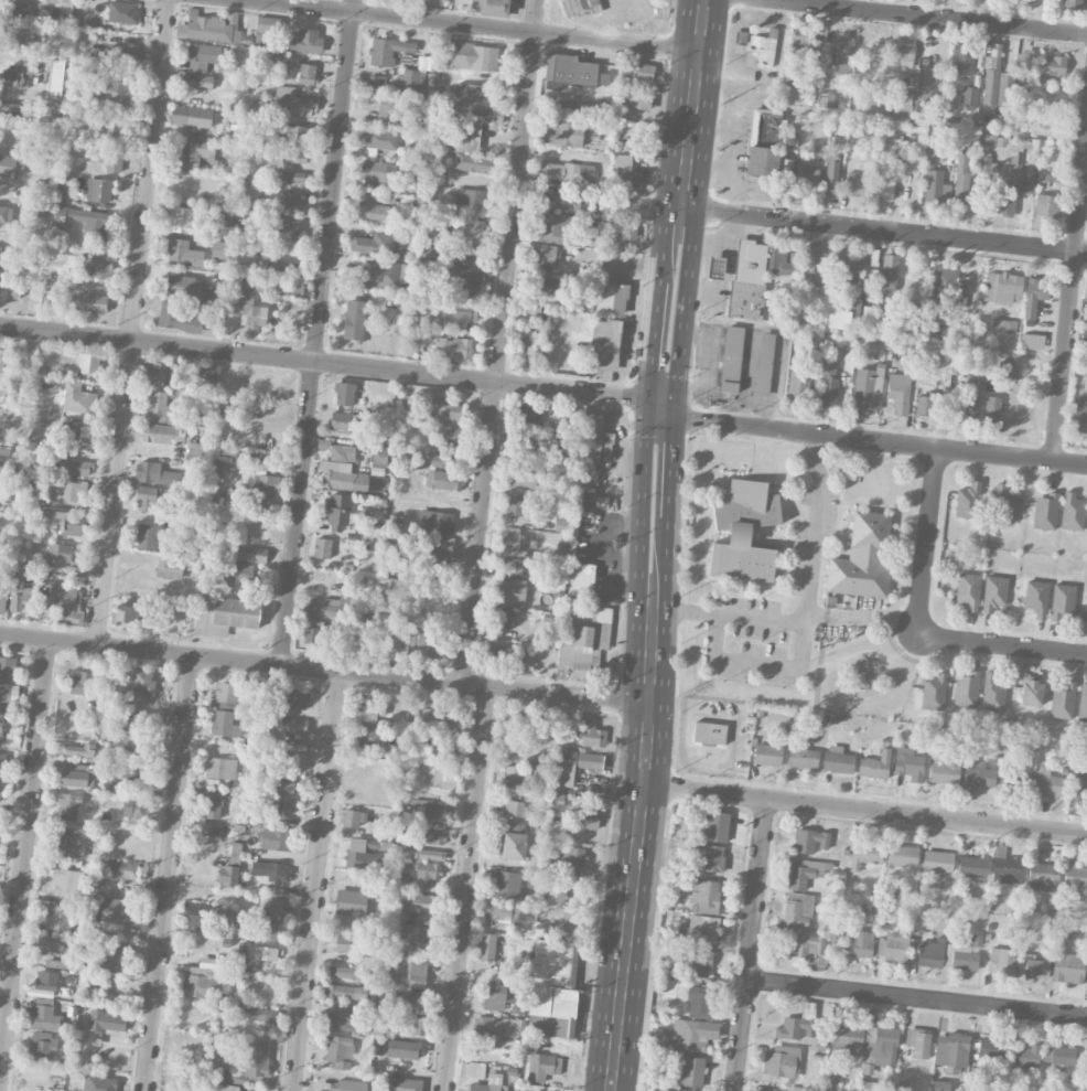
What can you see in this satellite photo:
building: (1074, 2)
building: (19, 8)
building: (494, 8)
building: (580, 8)
building: (122, 12)
road: (930, 17)
building: (267, 24)
road: (474, 24)
building: (209, 26)
building: (18, 36)
building: (740, 38)
building: (305, 41)
building: (799, 46)
building: (764, 47)
building: (384, 51)
building: (843, 54)
building: (901, 54)
building: (121, 55)
building: (470, 55)
building: (202, 56)
building: (962, 61)
building: (1053, 65)
building: (1025, 71)
building: (306, 73)
building: (642, 73)
building: (415, 75)
building: (11, 76)
building: (569, 77)
road: (697, 78)
building: (197, 82)
building: (376, 84)
building: (926, 84)
building: (990, 86)
building: (1004, 88)
building: (116, 89)
building: (470, 93)
building: (969, 96)
building: (635, 99)
building: (826, 99)
building: (292, 103)
building: (902, 104)
building: (388, 107)
building: (10, 110)
building: (927, 114)
building: (191, 116)
building: (481, 119)
building: (114, 129)
building: (563, 135)
building: (293, 137)
building: (381, 139)
building: (986, 139)
building: (195, 153)
building: (293, 157)
building: (473, 160)
building: (762, 161)
building: (114, 163)
building: (230, 163)
building: (11, 165)
building: (984, 168)
building: (625, 170)
building: (566, 171)
building: (378, 174)
building: (784, 174)
building: (287, 175)
building: (806, 175)
building: (831, 178)
building: (961, 178)
building: (1026, 182)
building: (857, 185)
building: (936, 186)
building: (882, 188)
building: (98, 190)
building: (222, 195)
building: (1004, 200)
building: (559, 201)
building: (293, 202)
building: (471, 202)
building: (1046, 206)
building: (39, 210)
building: (368, 212)
building: (4, 215)
road: (666, 216)
building: (87, 221)
building: (189, 221)
building: (625, 225)
building: (594, 227)
building: (472, 228)
building: (556, 228)
building: (289, 231)
road: (876, 231)
building: (405, 243)
building: (373, 244)
building: (219, 249)
building: (542, 253)
building: (183, 254)
building: (426, 254)
building: (0, 255)
building: (794, 259)
building: (262, 261)
building: (280, 267)
building: (715, 267)
building: (97, 268)
building: (843, 268)
building: (607, 270)
building: (889, 271)
building: (465, 272)
building: (747, 279)
building: (272, 285)
building: (183, 287)
building: (545, 287)
road: (689, 287)
building: (944, 287)
building: (1002, 287)
building: (13, 290)
building: (1085, 290)
building: (1034, 295)
building: (611, 299)
building: (93, 302)
road: (1069, 304)
building: (881, 309)
building: (252, 313)
building: (456, 314)
building: (177, 318)
building: (842, 318)
building: (354, 320)
road: (131, 321)
building: (1003, 325)
road: (316, 332)
building: (1084, 334)
road: (654, 340)
building: (1033, 341)
road: (499, 342)
building: (604, 343)
building: (453, 347)
building: (731, 359)
road: (324, 362)
building: (764, 364)
building: (1004, 371)
building: (153, 374)
building: (173, 374)
building: (204, 378)
building: (828, 384)
building: (798, 386)
building: (867, 388)
building: (898, 393)
building: (344, 394)
building: (77, 398)
traffic signals: (648, 399)
building: (969, 403)
building: (924, 405)
building: (162, 408)
road: (661, 409)
building: (991, 410)
building: (453, 411)
building: (531, 414)
building: (1078, 416)
traffic signals: (676, 419)
building: (345, 421)
building: (390, 425)
building: (76, 430)
building: (165, 434)
building: (451, 435)
building: (591, 438)
road: (881, 440)
building: (200, 449)
building: (342, 453)
building: (379, 456)
building: (445, 462)
building: (72, 466)
road: (674, 468)
building: (215, 472)
building: (155, 473)
building: (586, 475)
building: (524, 479)
building: (345, 480)
building: (444, 480)
building: (262, 484)
building: (67, 491)
building: (144, 498)
building: (593, 501)
building: (968, 501)
building: (518, 504)
building: (1004, 504)
building: (1045, 511)
road: (643, 512)
building: (1072, 512)
building: (337, 513)
building: (62, 521)
building: (435, 522)
building: (743, 532)
building: (148, 536)
building: (514, 539)
road: (928, 542)
building: (442, 545)
building: (322, 548)
building: (251, 554)
building: (58, 555)
building: (862, 557)
building: (509, 567)
building: (169, 568)
road: (668, 571)
building: (237, 573)
building: (580, 580)
building: (968, 590)
building: (508, 593)
building: (994, 593)
building: (1036, 598)
building: (19, 599)
building: (64, 599)
building: (2, 600)
building: (1063, 602)
road: (807, 606)
building: (324, 607)
building: (136, 609)
building: (1085, 612)
building: (225, 614)
building: (370, 614)
building: (504, 619)
building: (315, 633)
building: (584, 638)
building: (417, 645)
road: (1002, 645)
building: (496, 656)
road: (229, 659)
road: (754, 667)
building: (7, 668)
building: (82, 683)
road: (474, 685)
building: (142, 686)
building: (967, 689)
building: (992, 691)
building: (933, 692)
building: (226, 693)
building: (1031, 693)
road: (569, 695)
building: (3, 699)
building: (295, 699)
building: (1063, 700)
building: (1083, 702)
building: (369, 710)
building: (134, 717)
building: (430, 719)
building: (521, 723)
building: (225, 724)
building: (293, 726)
building: (0, 727)
building: (709, 732)
building: (592, 735)
building: (367, 737)
building: (136, 745)
building: (78, 750)
building: (767, 755)
building: (803, 758)
building: (837, 760)
building: (1, 761)
building: (907, 763)
building: (575, 764)
building: (875, 764)
building: (220, 768)
building: (944, 769)
building: (979, 774)
building: (76, 776)
building: (125, 776)
building: (514, 776)
building: (280, 787)
building: (1045, 787)
building: (1078, 792)
building: (213, 805)
building: (278, 805)
building: (67, 806)
building: (514, 809)
road: (865, 809)
building: (134, 810)
building: (276, 817)
building: (353, 817)
building: (584, 819)
building: (715, 827)
building: (430, 836)
building: (275, 839)
building: (810, 841)
building: (72, 842)
building: (514, 845)
road: (23, 853)
building: (356, 853)
building: (865, 853)
building: (429, 855)
building: (902, 855)
building: (709, 857)
building: (573, 858)
road: (636, 858)
building: (937, 860)
building: (551, 865)
building: (972, 867)
building: (1007, 868)
building: (123, 869)
building: (270, 870)
road: (166, 873)
building: (427, 873)
building: (804, 873)
building: (227, 875)
building: (1075, 876)
building: (1042, 877)
building: (399, 879)
road: (314, 880)
building: (504, 884)
building: (67, 885)
road: (465, 888)
building: (704, 896)
building: (557, 897)
building: (349, 902)
building: (797, 909)
building: (119, 910)
building: (504, 913)
building: (198, 914)
building: (56, 917)
building: (263, 922)
building: (412, 922)
building: (563, 928)
building: (702, 929)
building: (53, 943)
building: (348, 944)
road: (751, 944)
building: (860, 944)
building: (486, 946)
building: (893, 946)
building: (805, 948)
building: (266, 953)
building: (929, 954)
building: (116, 956)
building: (960, 956)
building: (1001, 961)
building: (698, 962)
building: (69, 964)
building: (1067, 965)
building: (1036, 967)
building: (346, 973)
building: (417, 975)
building: (46, 981)
building: (203, 982)
building: (1086, 985)
building: (552, 987)
building: (345, 992)
building: (412, 996)
building: (497, 996)
road: (917, 997)
building: (698, 1002)
building: (44, 1014)
building: (338, 1018)
building: (106, 1019)
building: (415, 1026)
building: (496, 1026)
building: (795, 1028)
building: (693, 1034)
building: (846, 1037)
building: (658, 1039)
building: (918, 1042)
building: (42, 1045)
building: (378, 1046)
building: (880, 1048)
building: (406, 1049)
building: (951, 1051)
building: (340, 1052)
building: (990, 1052)
building: (1026, 1057)
building: (1059, 1057)
building: (255, 1058)
building: (782, 1061)
building: (540, 1067)
building: (1085, 1068)
building: (690, 1071)
building: (489, 1083)
building: (401, 1084)
building: (351, 1085)
building: (940, 1085)
building: (214, 1087)
building: (871, 1087)
building: (675, 1090)

